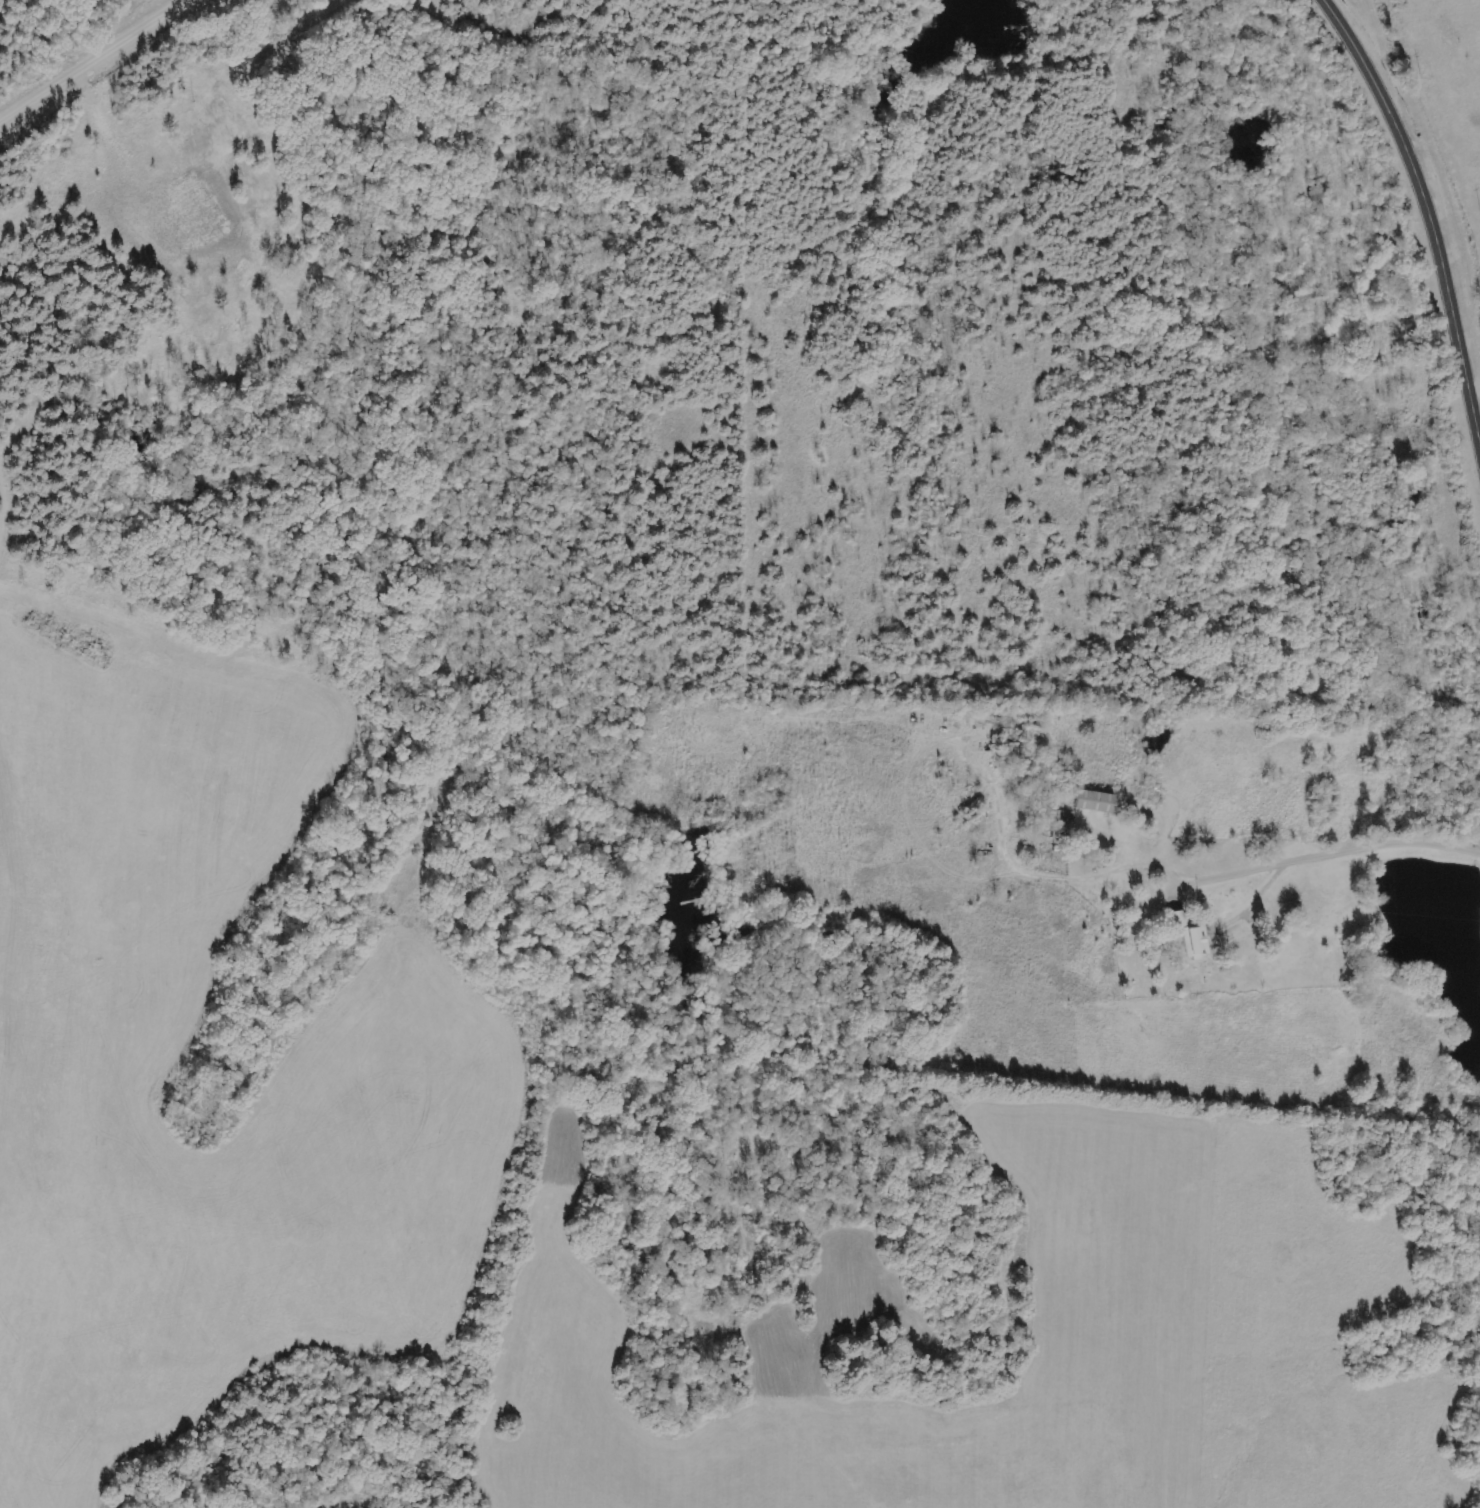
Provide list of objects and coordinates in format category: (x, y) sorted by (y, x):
road: (90, 60)
road: (1427, 207)
building: (1093, 801)
road: (1271, 866)
building: (1188, 935)

